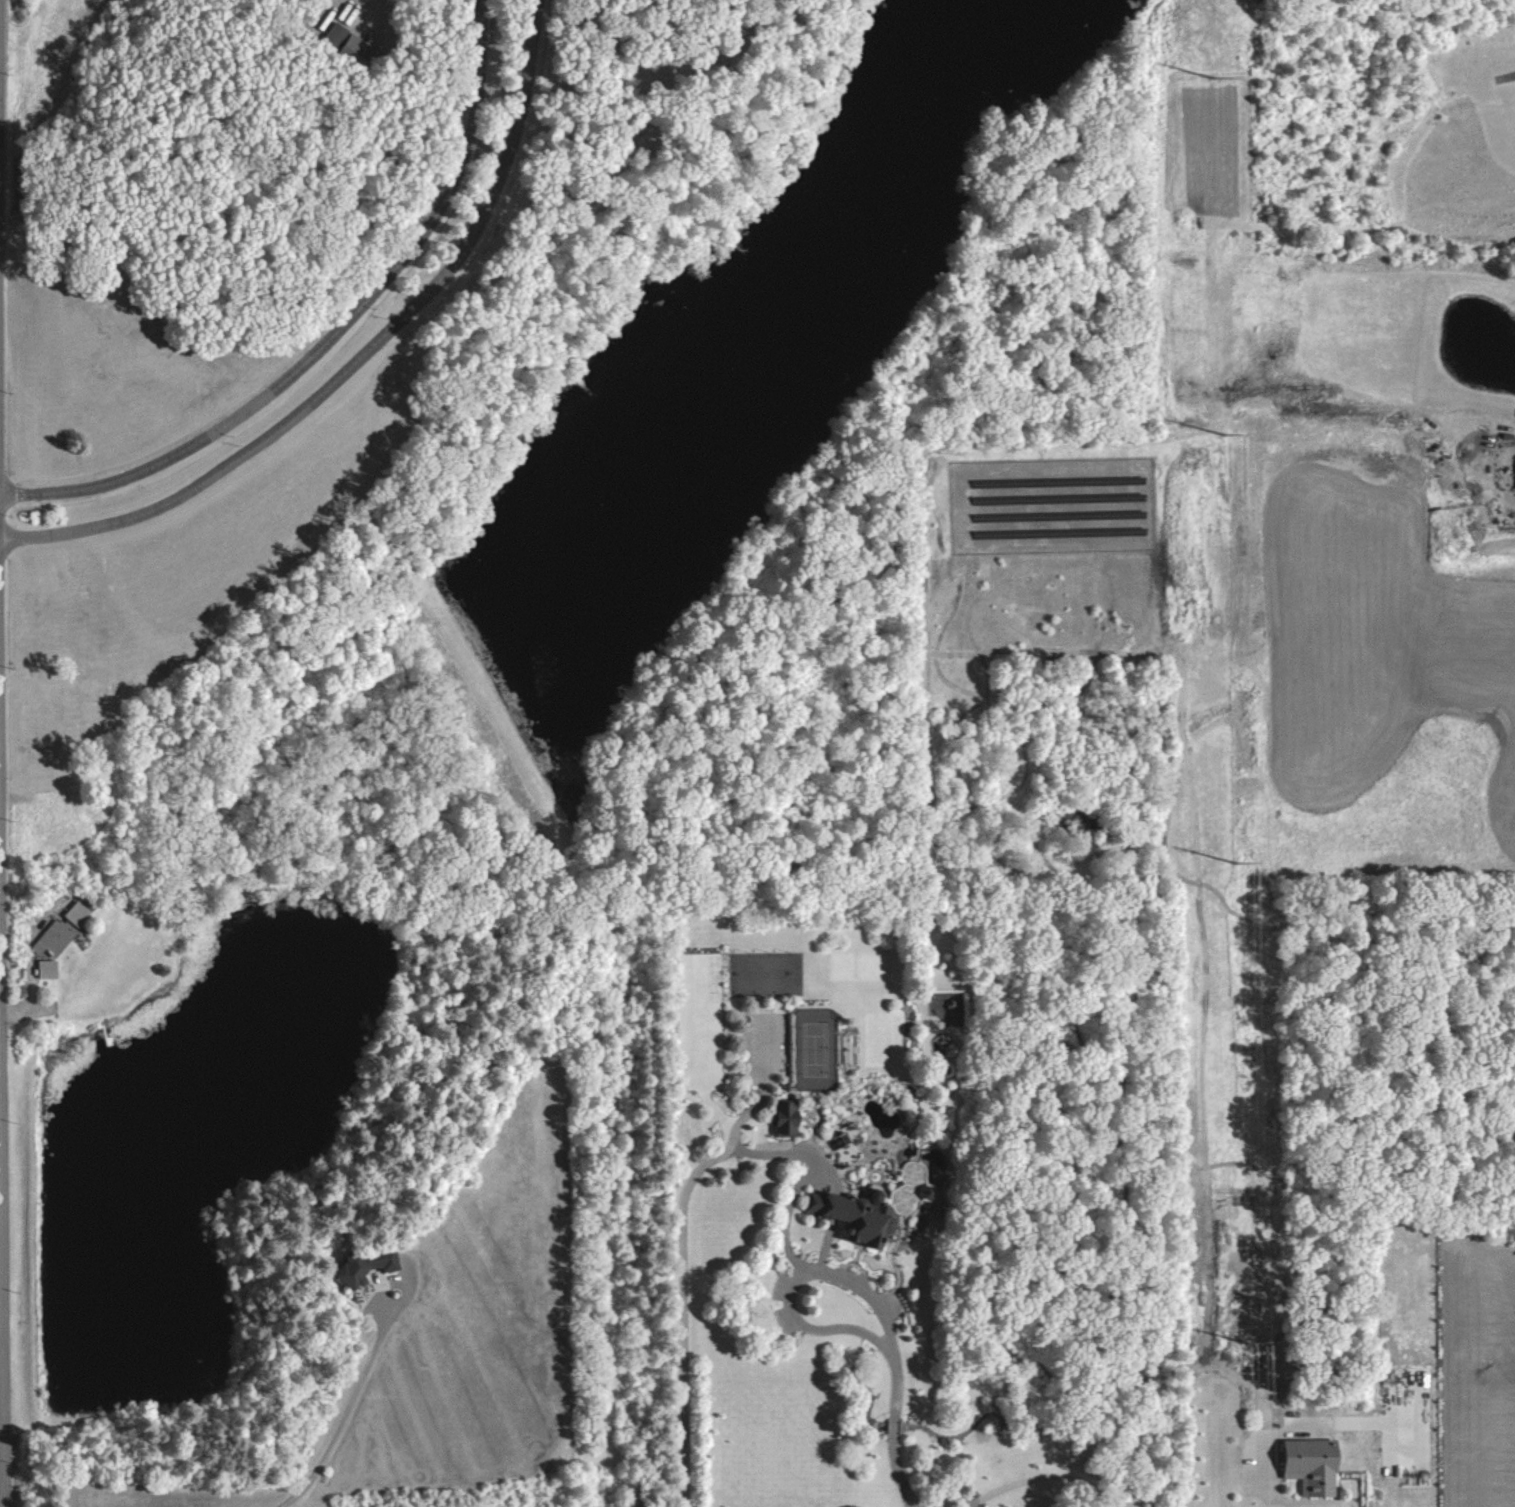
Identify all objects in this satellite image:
power tower: (1213, 77)
road: (335, 334)
road: (360, 358)
power tower: (1223, 434)
road: (2, 836)
power tower: (1235, 862)
building: (64, 928)
building: (48, 969)
building: (788, 1117)
road: (791, 1148)
building: (858, 1220)
building: (368, 1263)
power tower: (1248, 1341)
road: (339, 1413)
building: (1313, 1466)
road: (1048, 1473)

